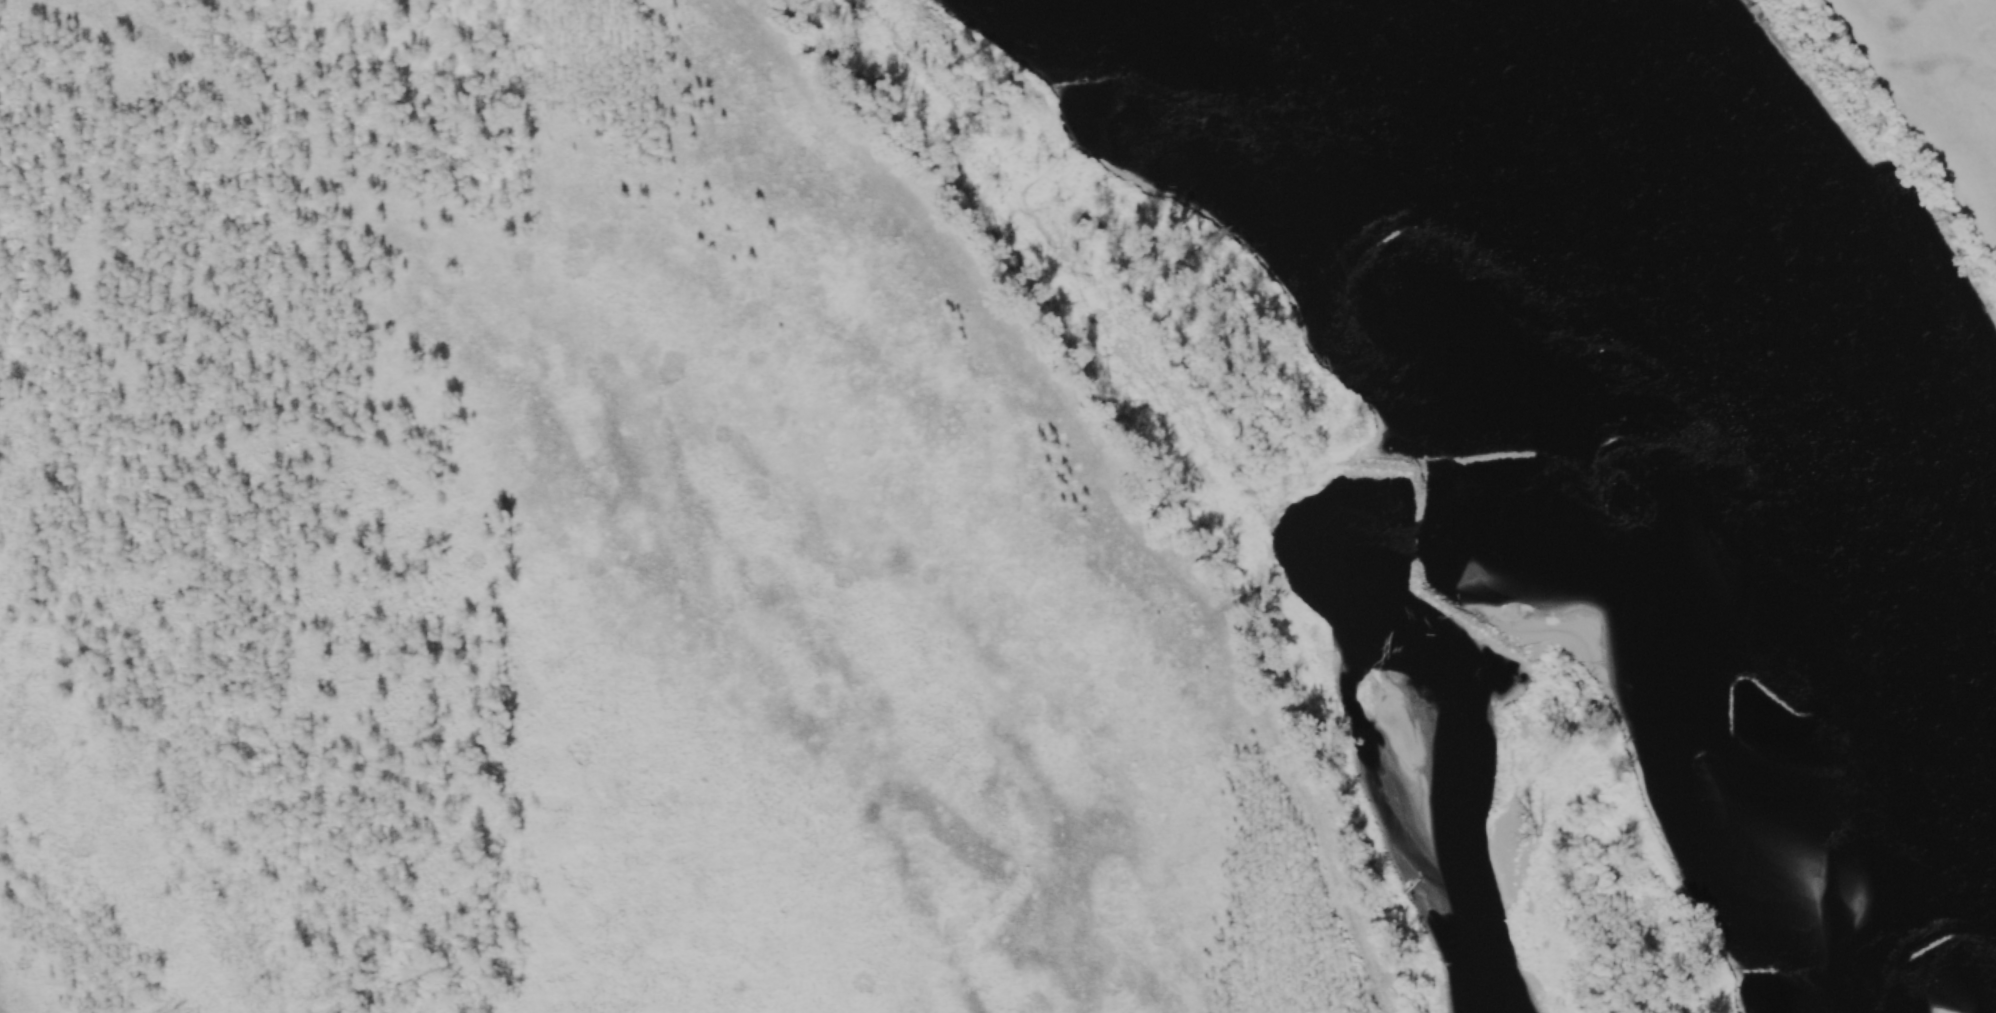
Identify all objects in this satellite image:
river: (1709, 440)
road: (1105, 480)

